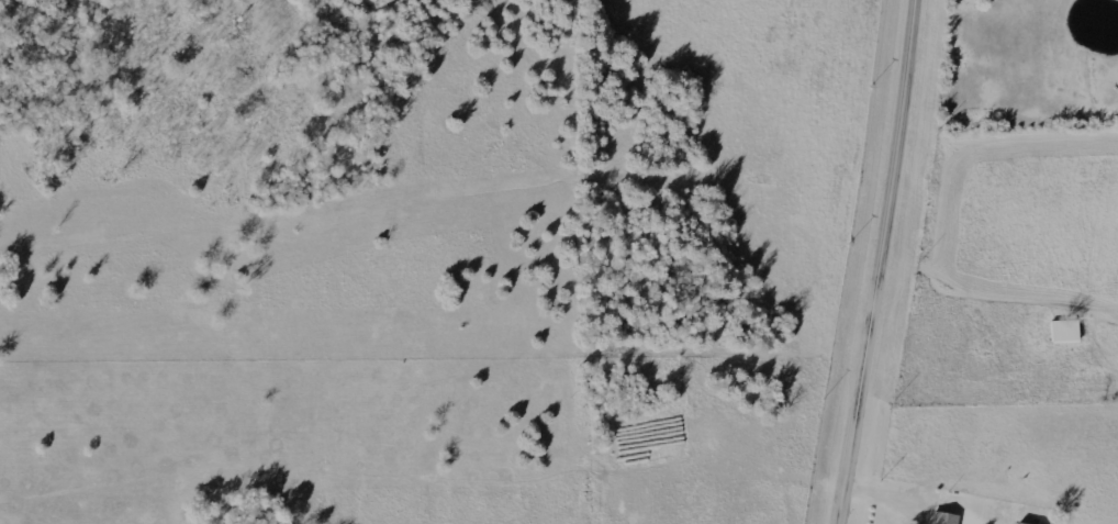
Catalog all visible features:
road: (883, 261)
road: (966, 288)
building: (1061, 334)
road: (894, 490)
building: (939, 519)
building: (1024, 523)

